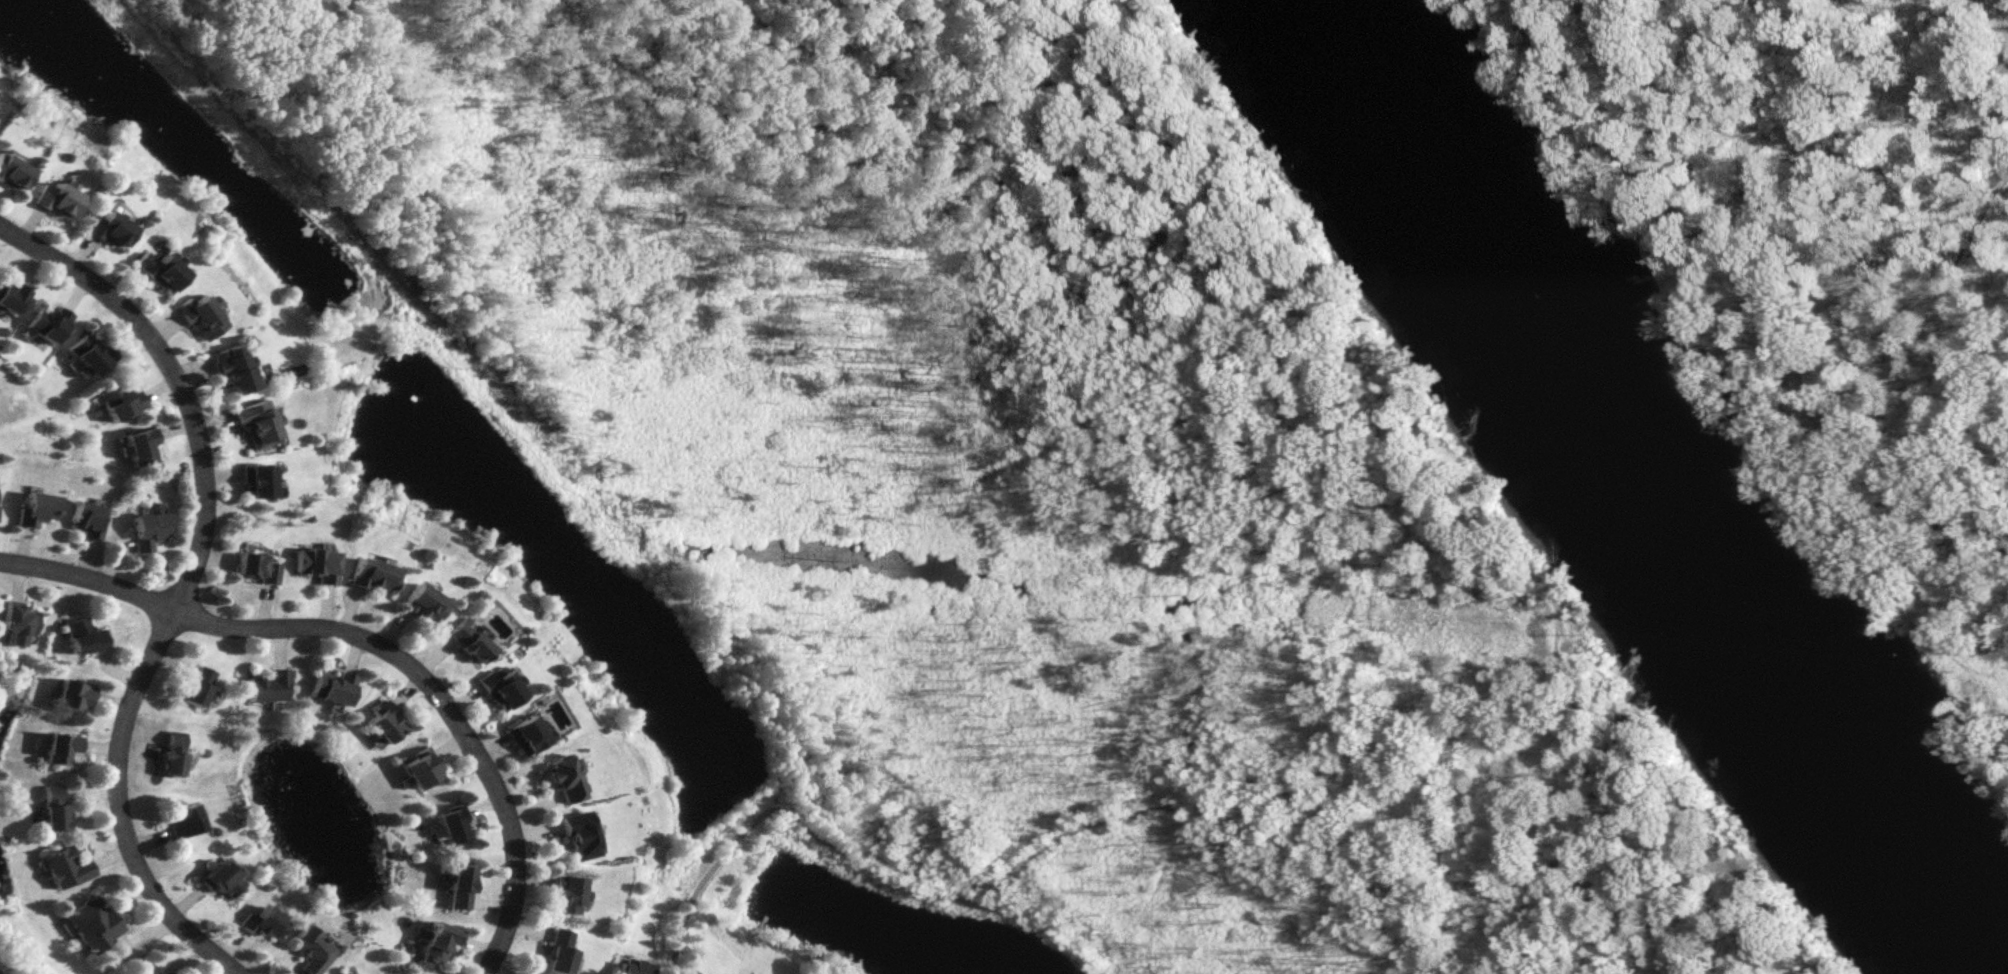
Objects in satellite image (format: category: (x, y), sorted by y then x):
building: (11, 173)
building: (53, 199)
building: (106, 229)
building: (157, 271)
building: (8, 296)
building: (197, 315)
building: (45, 323)
building: (86, 354)
building: (230, 370)
road: (1385, 393)
building: (116, 400)
building: (254, 422)
building: (139, 447)
park: (1026, 463)
building: (256, 481)
river: (1634, 496)
building: (35, 508)
building: (86, 520)
building: (146, 531)
building: (313, 565)
building: (254, 568)
building: (370, 576)
road: (179, 583)
building: (421, 603)
building: (16, 622)
building: (82, 636)
building: (466, 640)
road: (372, 645)
building: (196, 685)
building: (269, 685)
building: (329, 685)
building: (497, 688)
building: (72, 695)
building: (382, 720)
building: (524, 733)
building: (60, 746)
building: (171, 752)
building: (418, 768)
building: (563, 777)
building: (52, 806)
building: (183, 819)
road: (1235, 822)
building: (450, 823)
building: (577, 834)
building: (65, 866)
building: (221, 878)
building: (457, 885)
building: (564, 892)
building: (266, 921)
building: (92, 922)
building: (437, 940)
building: (312, 948)
building: (557, 949)
building: (633, 966)
building: (146, 969)
building: (345, 972)

